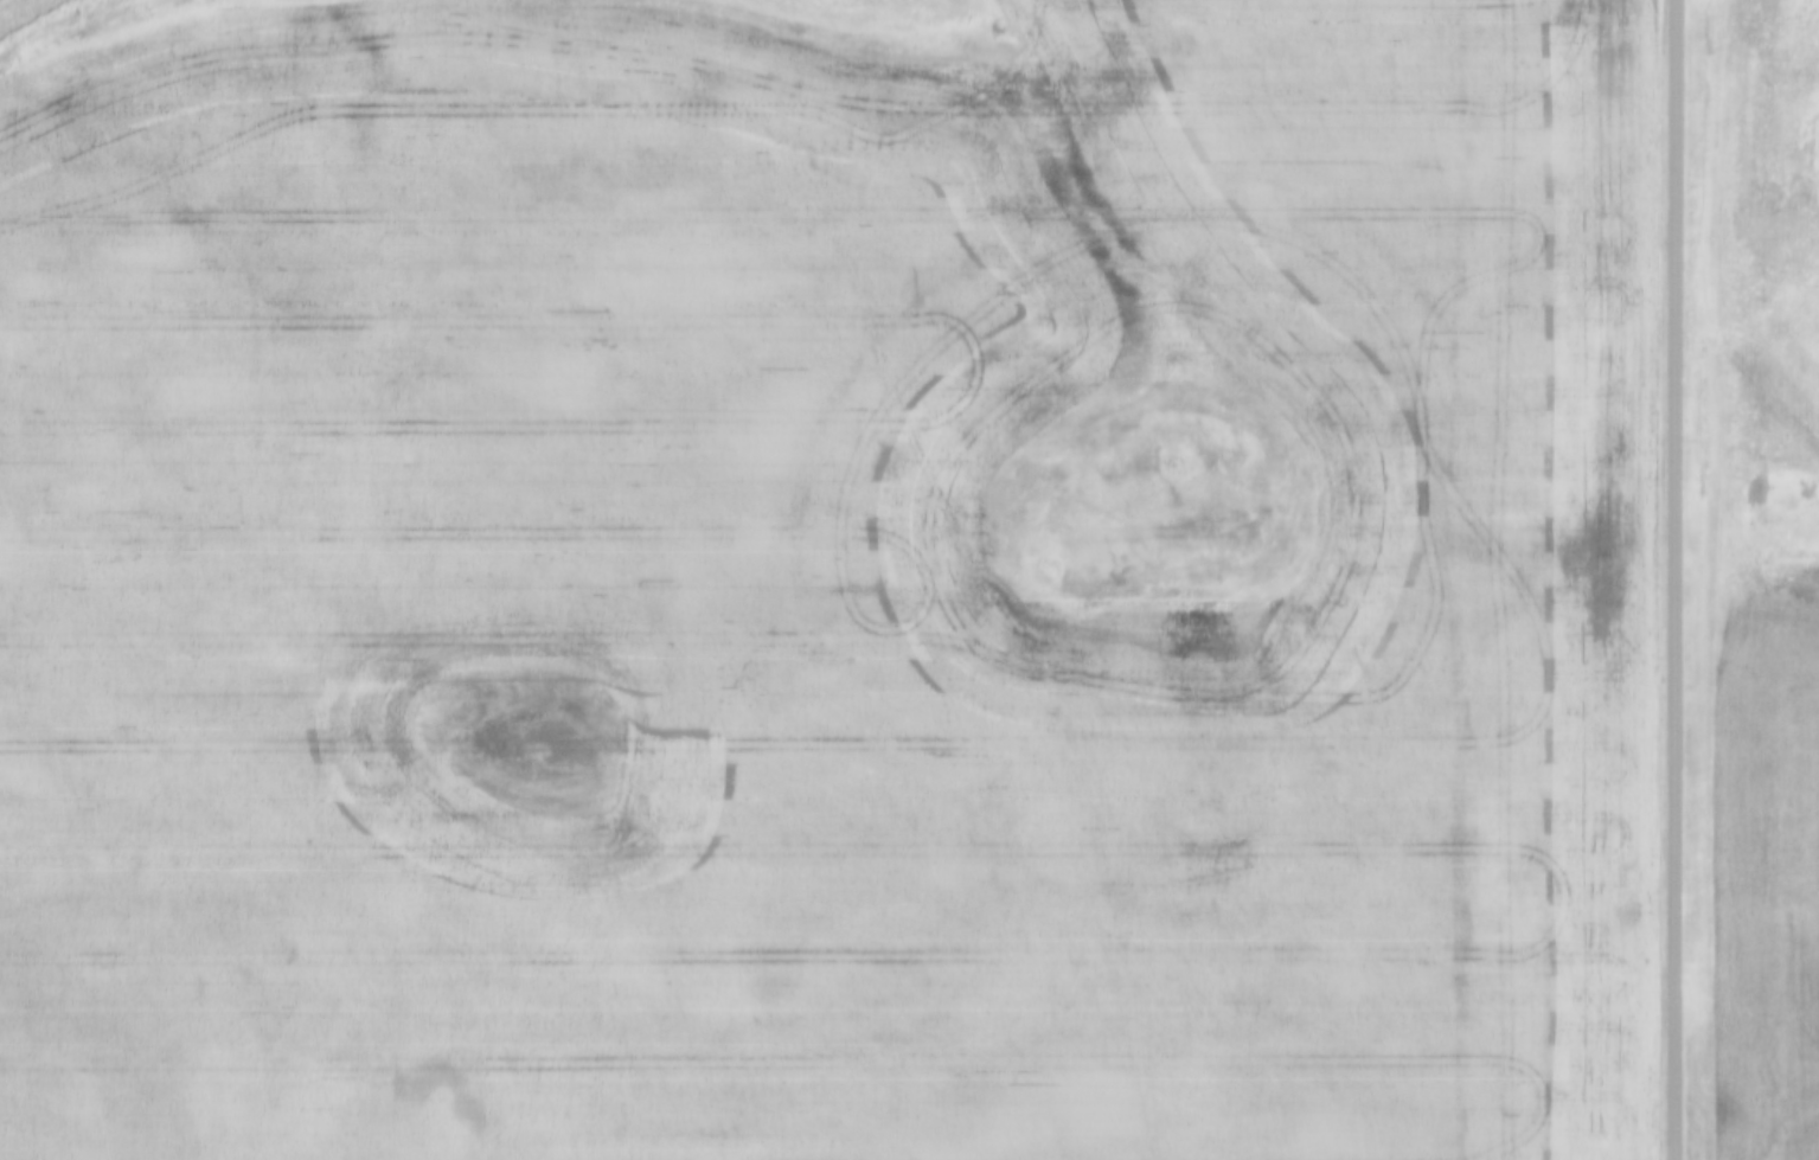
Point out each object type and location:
road: (1677, 579)

